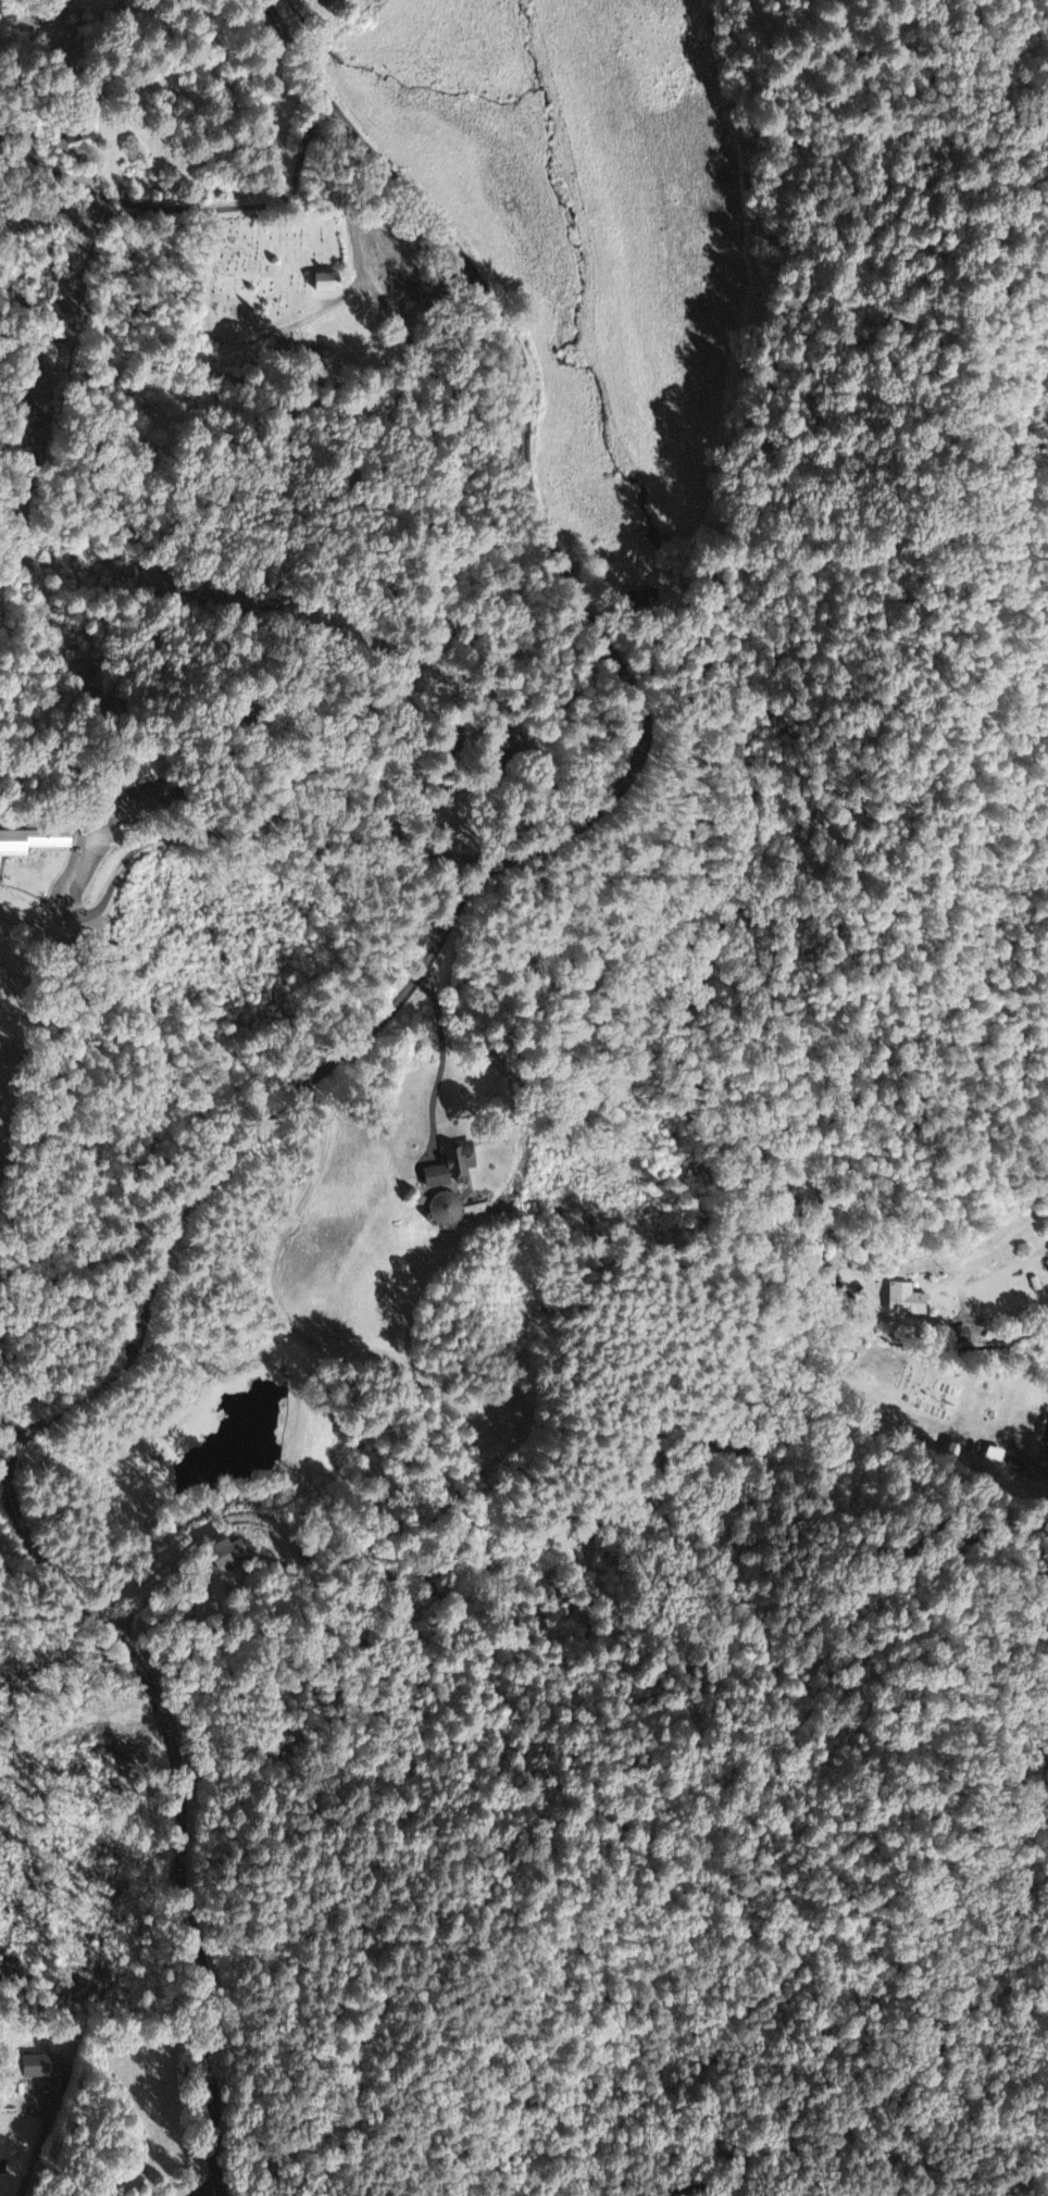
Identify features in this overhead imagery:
road: (184, 210)
park: (267, 269)
building: (333, 279)
road: (209, 371)
road: (477, 423)
road: (463, 646)
road: (614, 798)
building: (32, 844)
road: (127, 950)
road: (440, 1060)
building: (454, 1168)
building: (449, 1210)
building: (908, 1301)
road: (30, 1394)
building: (1046, 1437)
building: (229, 1554)
road: (184, 1822)
building: (45, 2068)

